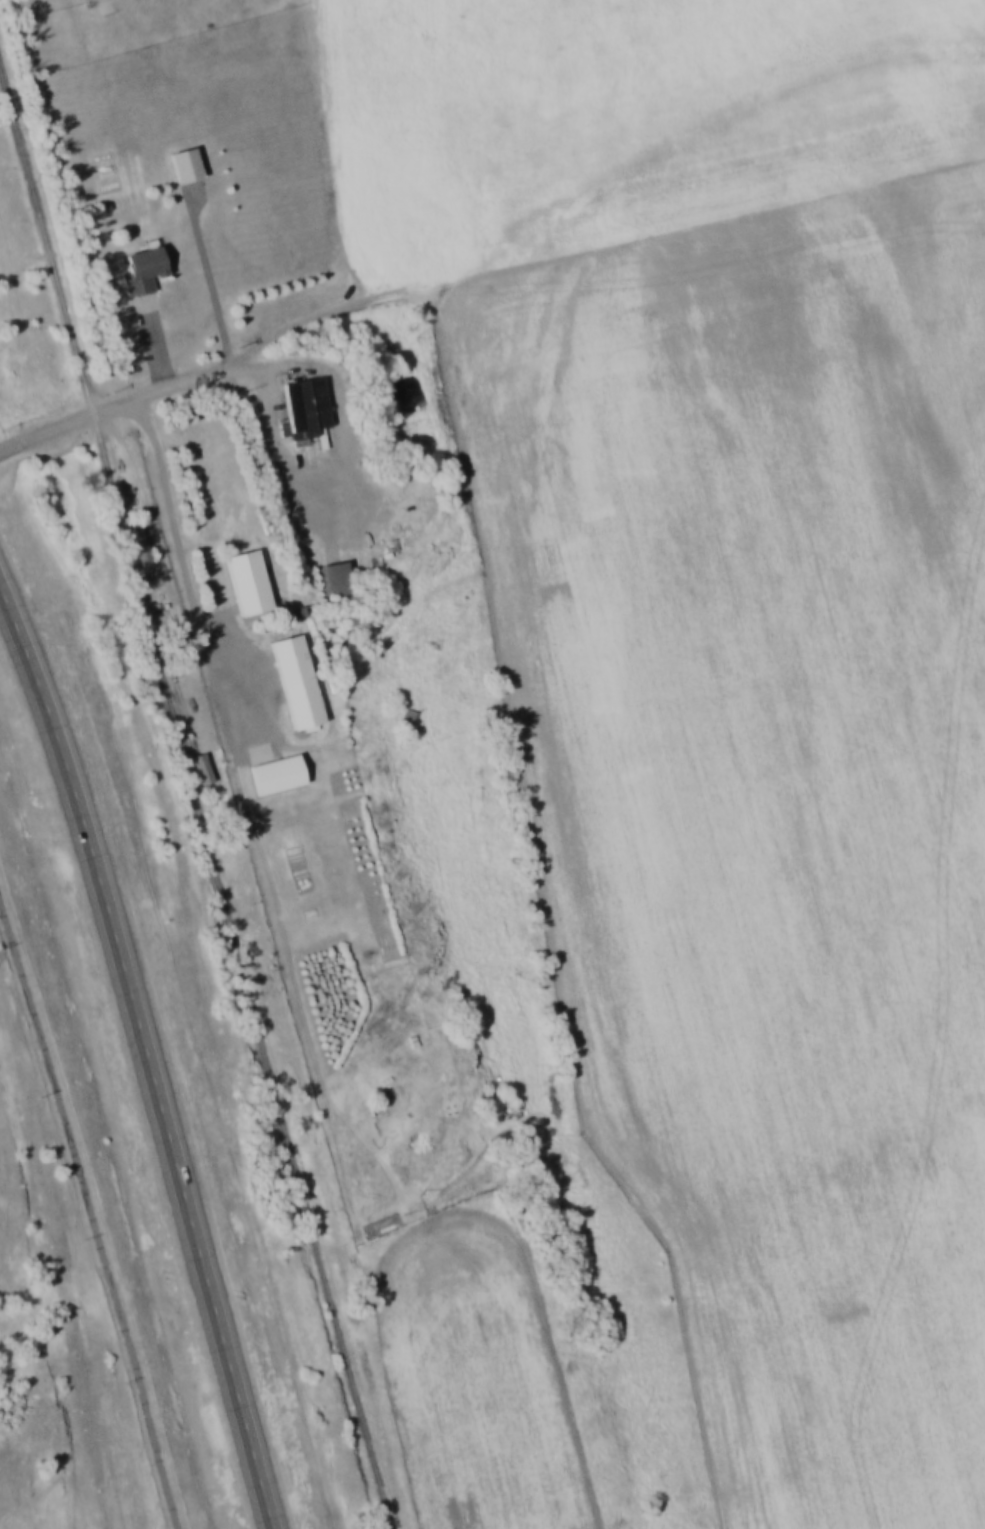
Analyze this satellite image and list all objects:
building: (185, 163)
road: (598, 205)
building: (144, 270)
road: (108, 405)
building: (306, 407)
building: (140, 542)
building: (338, 578)
building: (248, 581)
building: (297, 680)
railway: (180, 713)
building: (409, 715)
building: (202, 766)
building: (277, 773)
railway: (195, 795)
road: (144, 1054)
road: (94, 1215)

